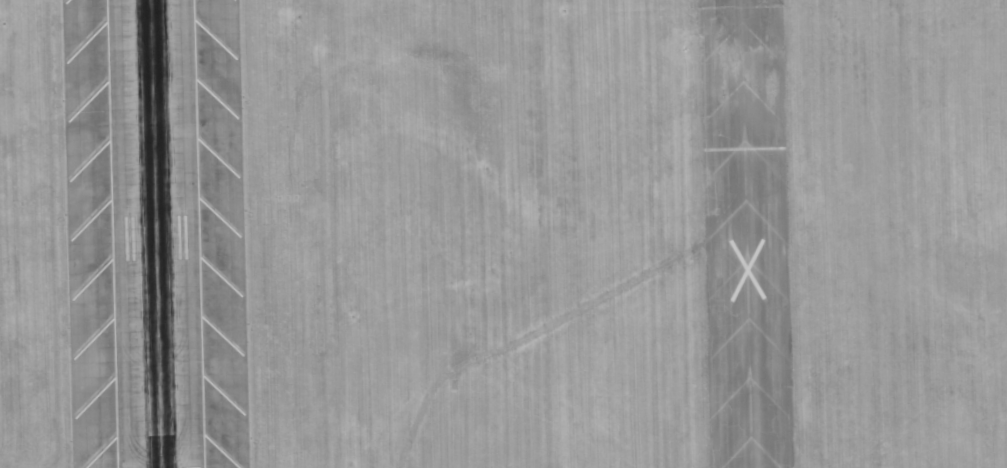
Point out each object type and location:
airport runway: (155, 234)
airport: (503, 234)

